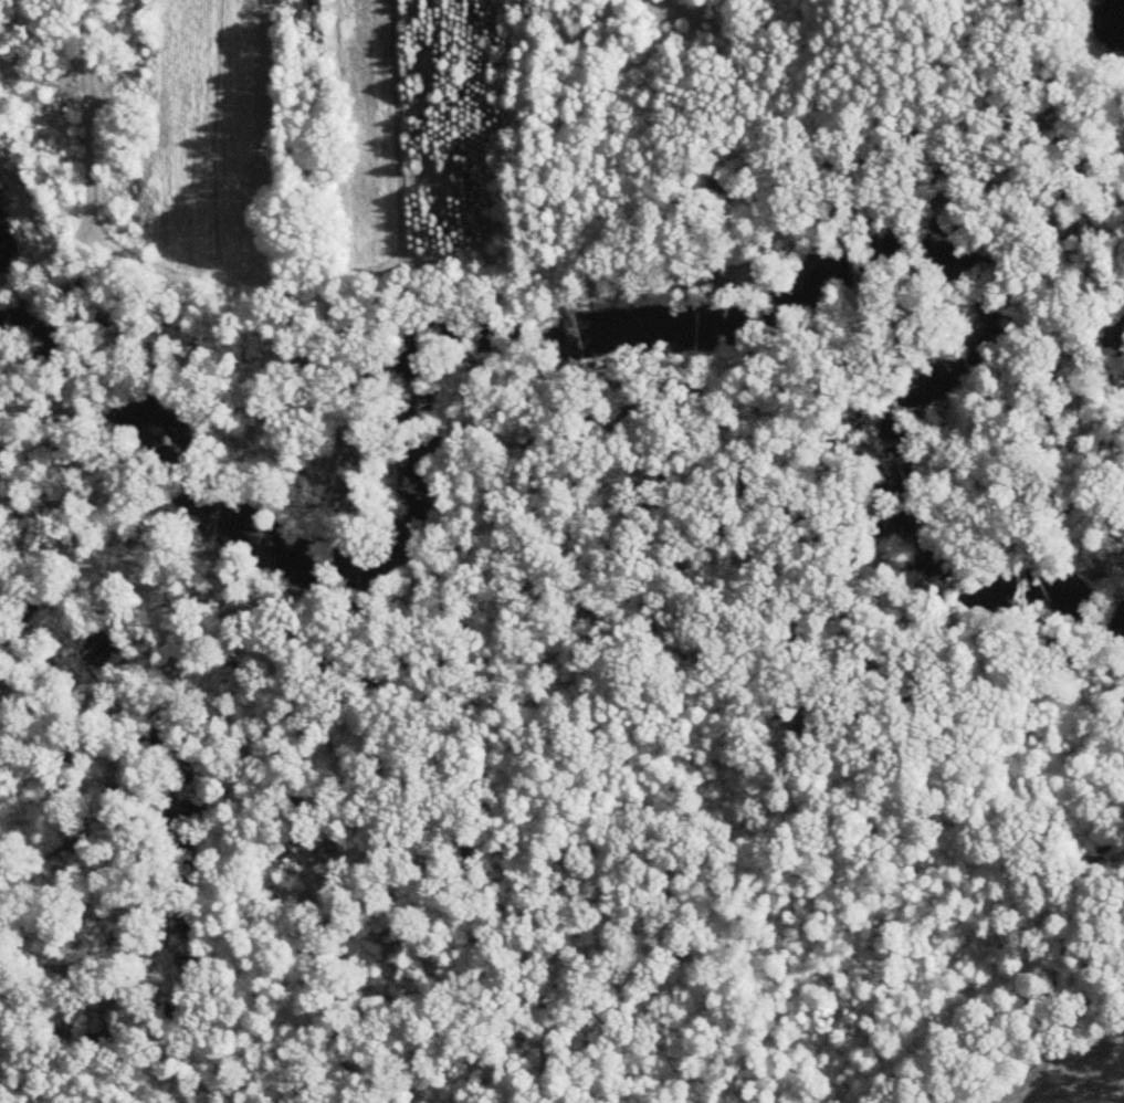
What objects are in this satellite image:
river: (553, 322)
river: (1100, 612)

